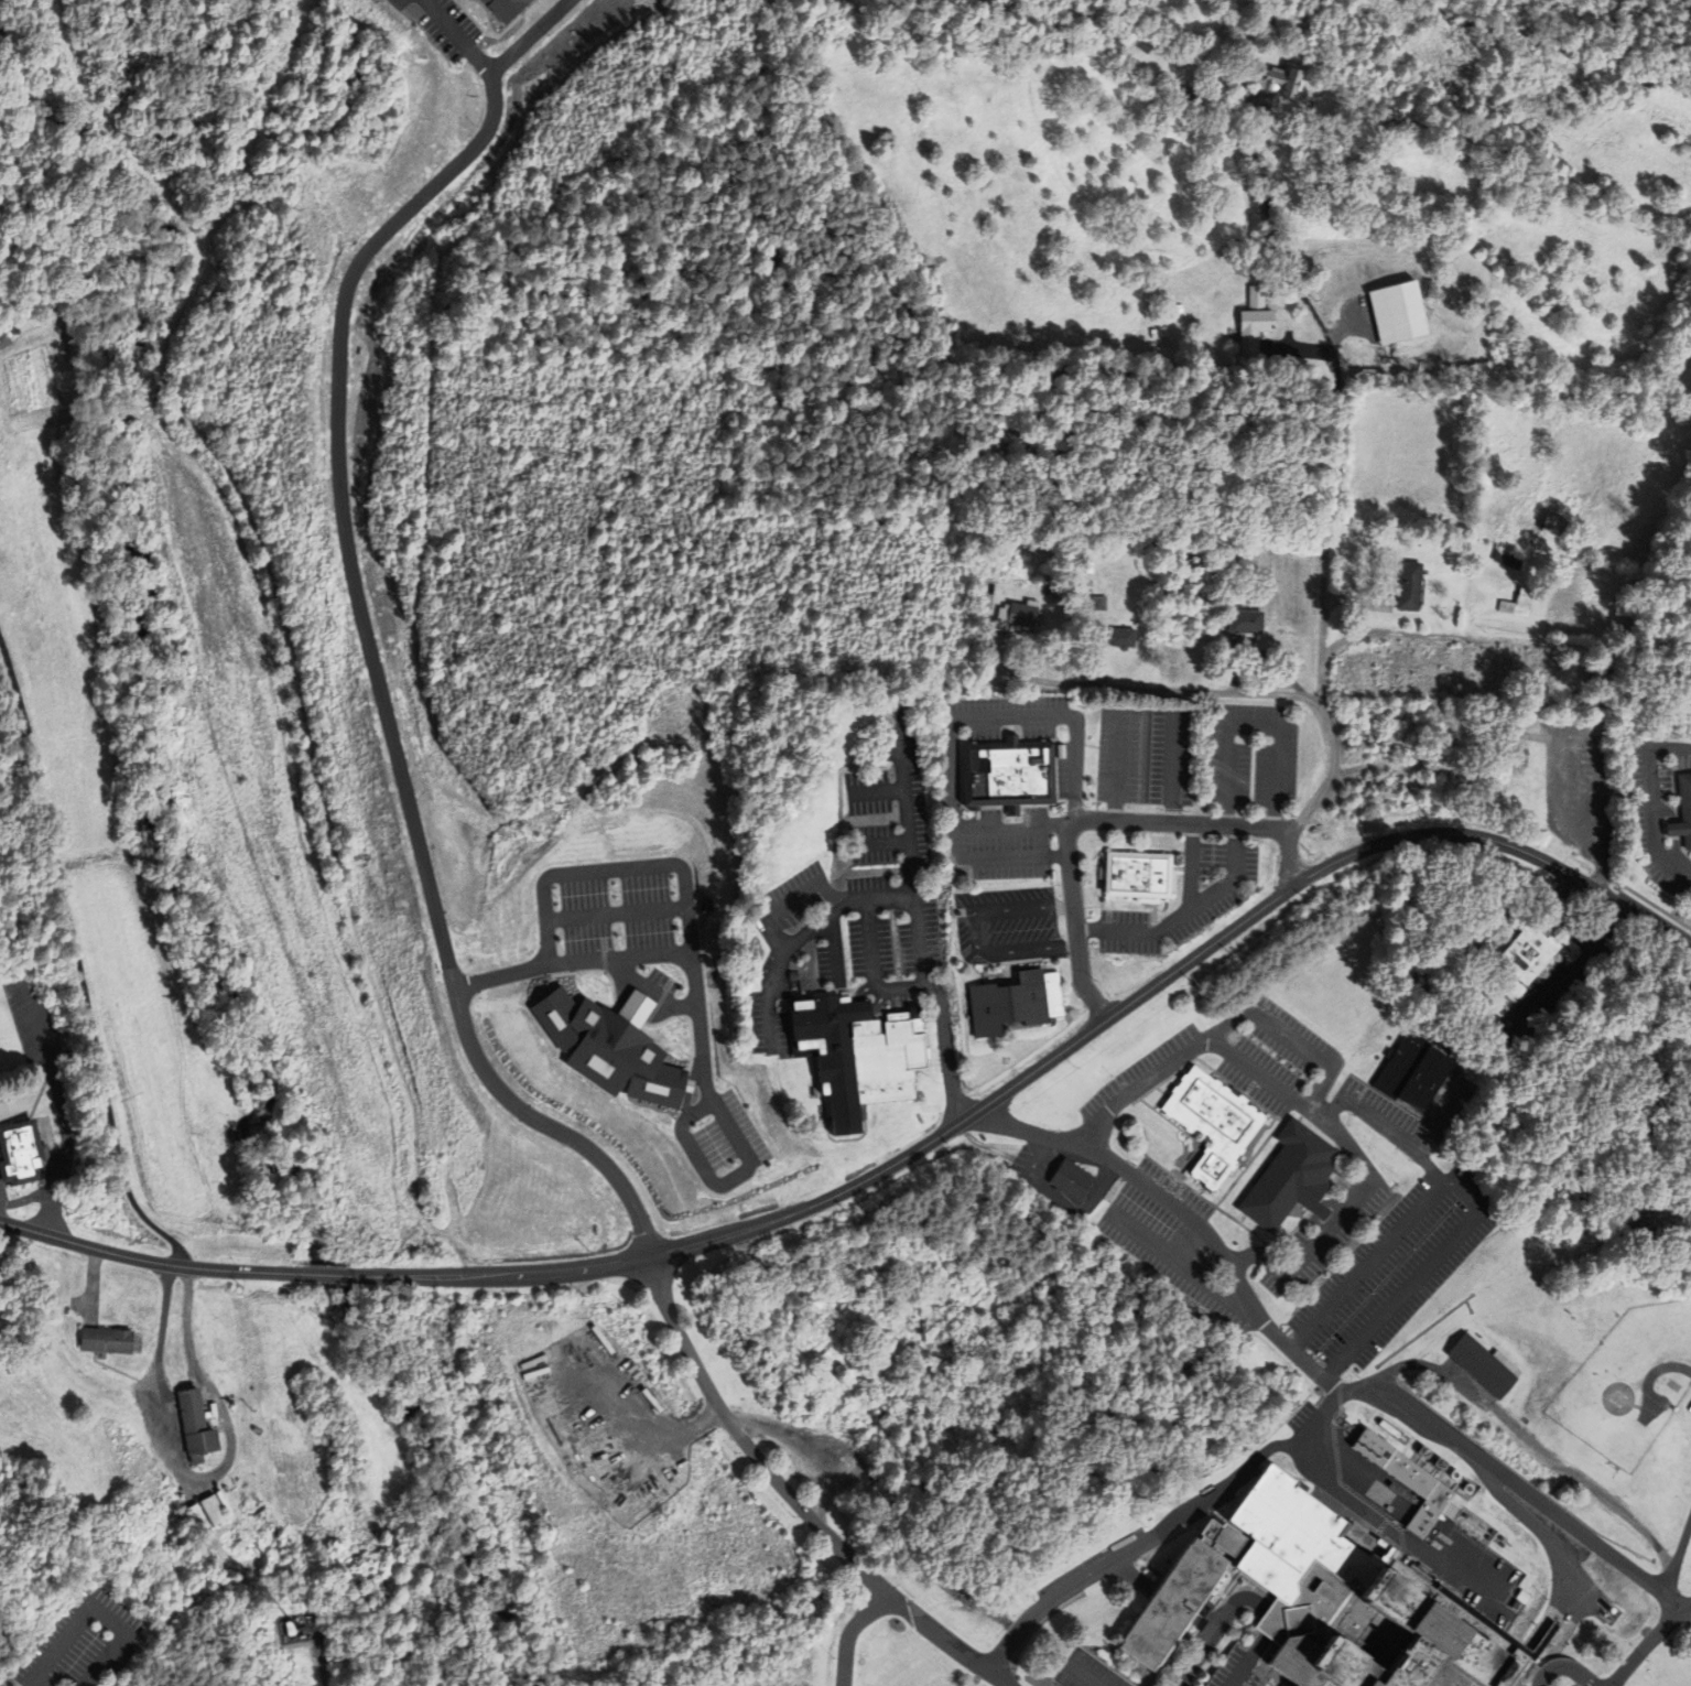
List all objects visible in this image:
building: (507, 9)
road: (530, 37)
road: (455, 40)
building: (1142, 42)
building: (1286, 82)
building: (1179, 91)
building: (1254, 323)
building: (15, 329)
building: (6, 342)
road: (1333, 399)
building: (1554, 526)
building: (1408, 587)
building: (1518, 605)
building: (1018, 618)
building: (1245, 623)
building: (1121, 639)
road: (1166, 692)
road: (1008, 720)
road: (1253, 726)
road: (1115, 766)
road: (1172, 768)
road: (1326, 771)
building: (1009, 775)
road: (876, 793)
road: (1650, 801)
building: (1683, 814)
road: (1598, 818)
road: (1102, 821)
road: (1008, 829)
road: (880, 843)
road: (997, 857)
road: (911, 858)
road: (1189, 867)
building: (1139, 875)
road: (792, 903)
road: (1059, 905)
road: (1010, 910)
road: (1180, 912)
road: (618, 916)
road: (974, 933)
road: (800, 937)
road: (868, 945)
road: (1028, 949)
road: (833, 951)
building: (1529, 951)
road: (446, 959)
road: (572, 963)
road: (78, 965)
road: (1167, 977)
road: (696, 984)
road: (653, 994)
building: (1013, 1001)
road: (639, 1006)
road: (939, 1025)
road: (1227, 1025)
building: (611, 1046)
building: (859, 1052)
building: (802, 1071)
road: (1256, 1072)
building: (1412, 1073)
building: (689, 1085)
building: (1211, 1122)
building: (712, 1125)
road: (1388, 1131)
building: (22, 1152)
building: (715, 1171)
building: (1290, 1177)
building: (1070, 1178)
road: (1180, 1213)
road: (1184, 1242)
road: (148, 1260)
road: (1180, 1264)
road: (1368, 1264)
road: (553, 1275)
road: (324, 1276)
road: (401, 1277)
road: (872, 1307)
crop: (3, 1309)
building: (109, 1339)
building: (1483, 1364)
airport: (1629, 1380)
road: (1650, 1380)
helipad: (1616, 1397)
road: (1323, 1406)
building: (1690, 1408)
building: (199, 1425)
crop: (55, 1436)
road: (646, 1439)
road: (1538, 1449)
road: (202, 1479)
building: (1406, 1481)
building: (215, 1510)
building: (196, 1514)
road: (1394, 1533)
road: (1674, 1557)
building: (1185, 1592)
road: (1233, 1602)
road: (93, 1609)
building: (290, 1628)
road: (847, 1632)
building: (1373, 1638)
road: (1648, 1642)
parking lot: (80, 1643)
road: (322, 1661)
building: (1244, 1663)
parking lot: (1244, 1663)
parking lot: (128, 1664)
road: (1563, 1667)
road: (1078, 1675)
parking lot: (107, 1678)

